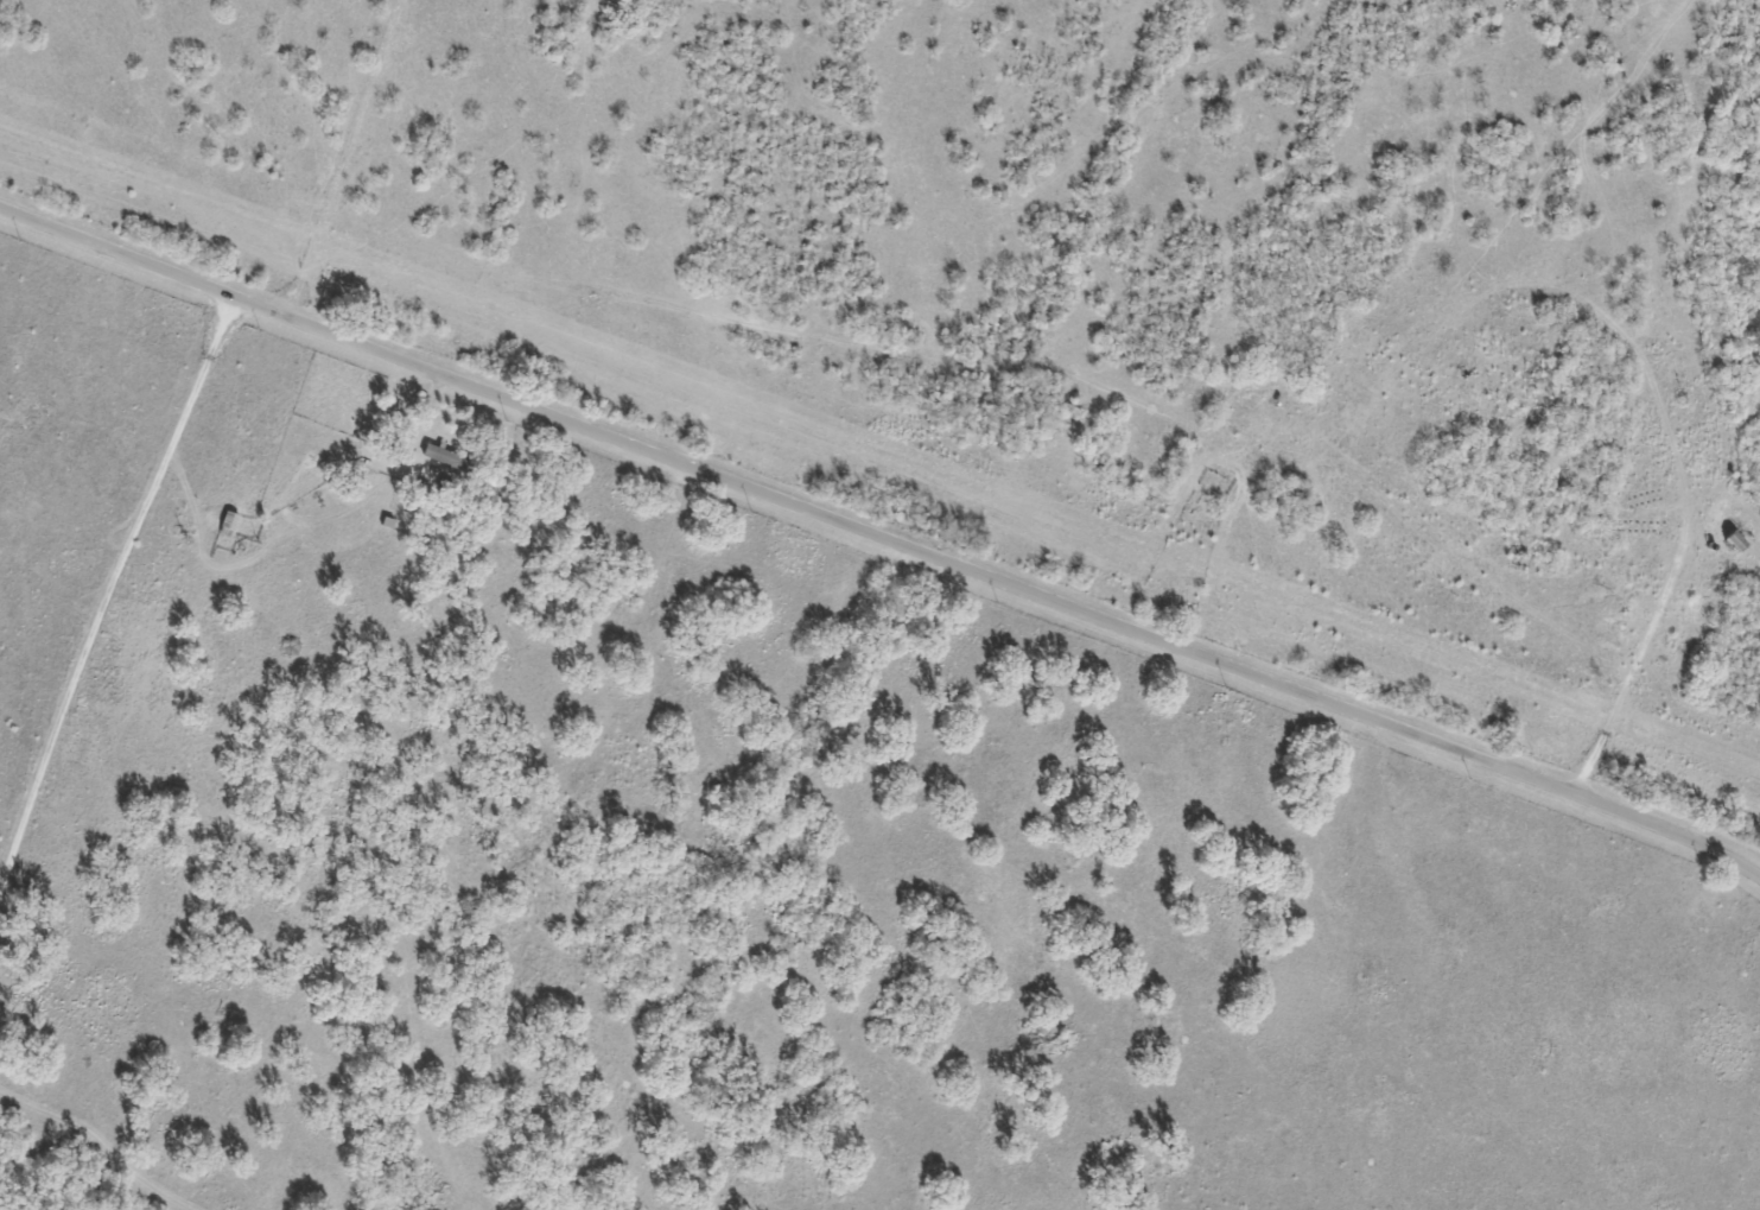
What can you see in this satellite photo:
building: (441, 456)
building: (224, 521)
road: (882, 537)
road: (109, 587)

